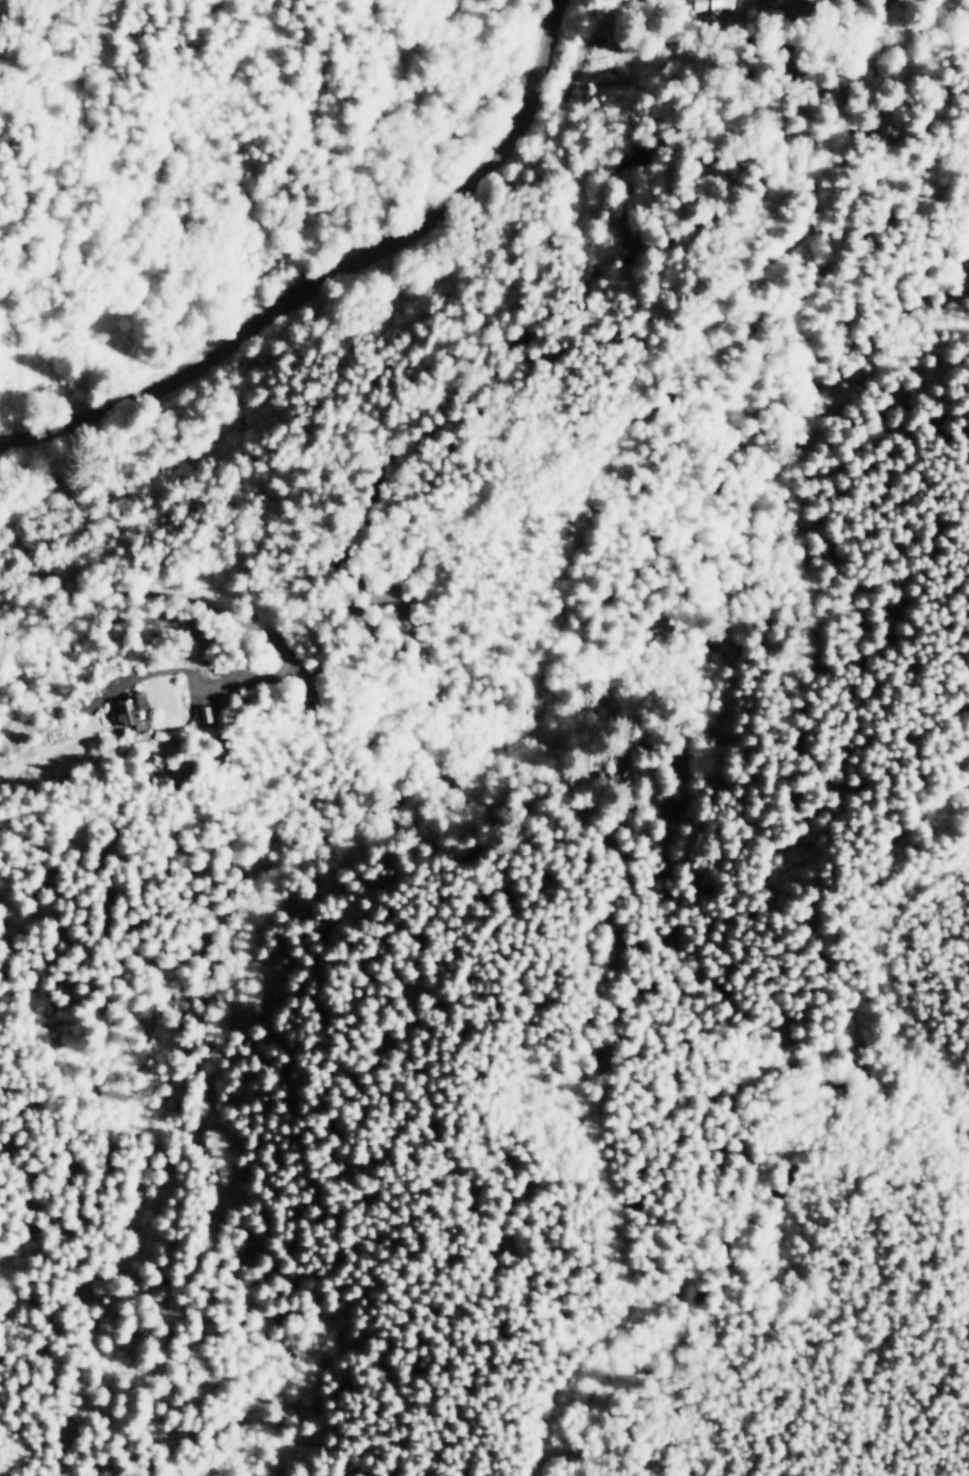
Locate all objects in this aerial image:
building: (708, 3)
road: (329, 277)
building: (127, 711)
road: (786, 1197)
road: (602, 1457)

